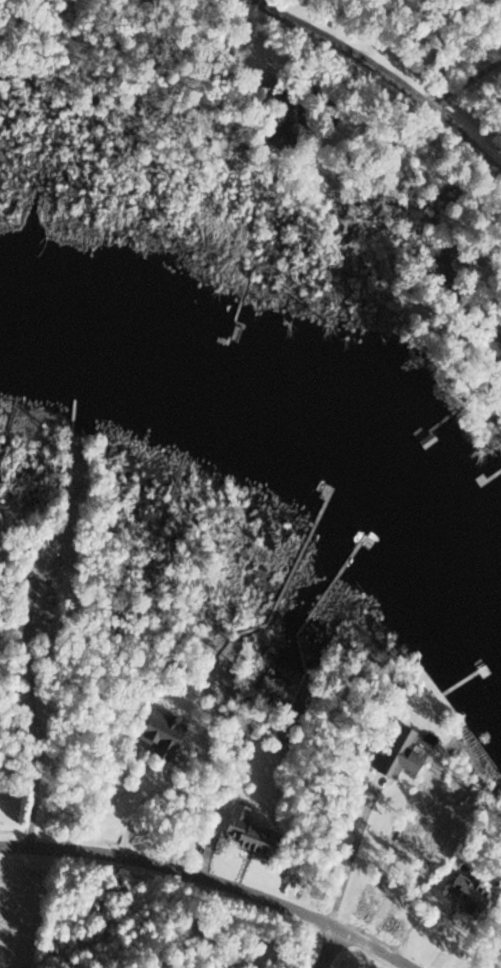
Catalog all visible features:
road: (404, 74)
road: (465, 77)
building: (493, 348)
building: (158, 733)
building: (401, 755)
building: (241, 832)
road: (348, 854)
road: (214, 881)
building: (464, 893)
road: (329, 947)

